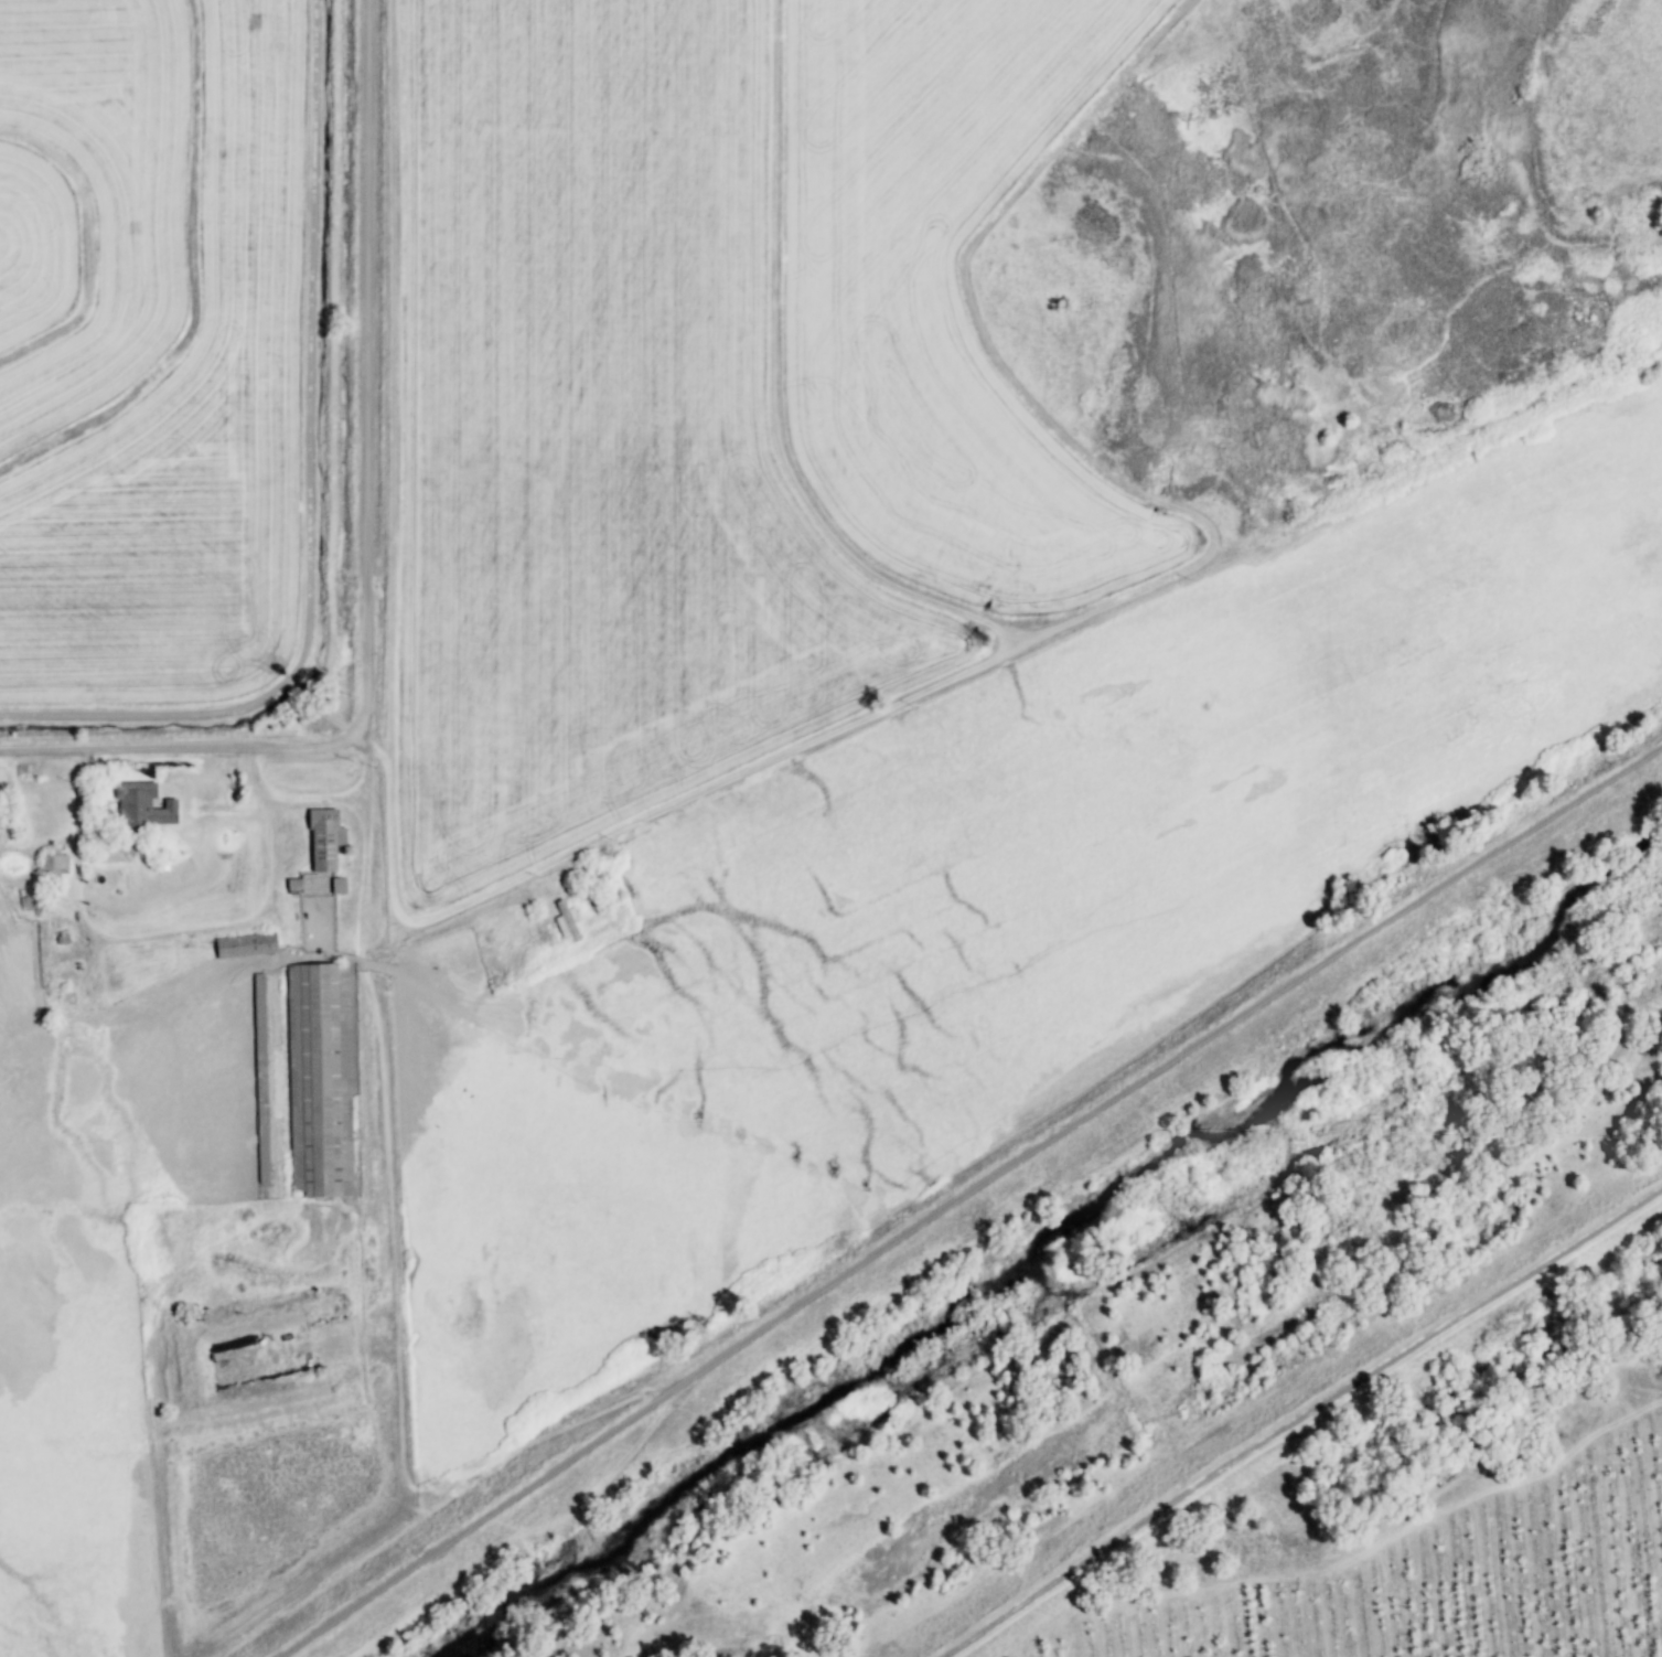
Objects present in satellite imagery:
road: (364, 544)
road: (314, 801)
building: (144, 805)
road: (264, 827)
building: (328, 840)
building: (55, 864)
building: (248, 945)
road: (377, 1028)
building: (321, 1079)
road: (1655, 1193)
road: (967, 1196)
road: (1296, 1423)

